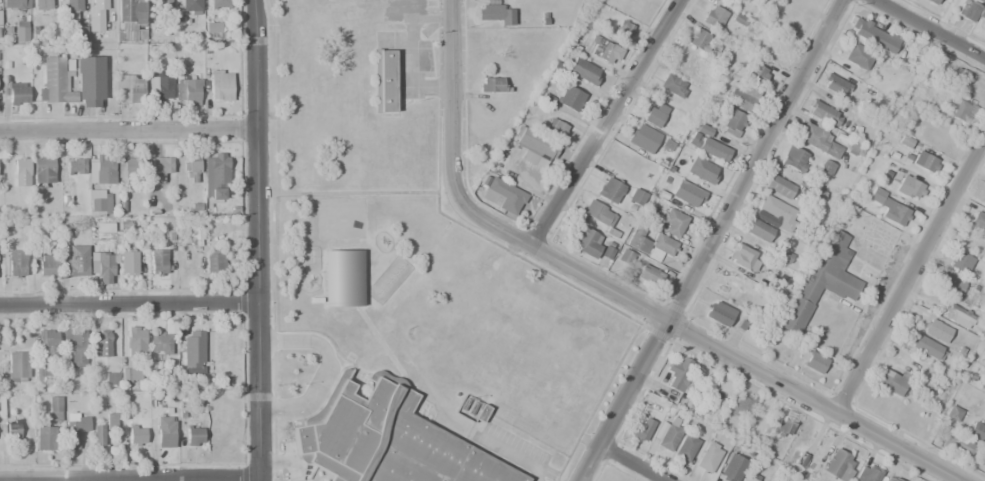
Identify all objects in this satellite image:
building: (979, 0)
building: (931, 2)
building: (42, 4)
building: (163, 4)
building: (220, 4)
building: (16, 5)
building: (190, 7)
building: (969, 11)
building: (72, 12)
building: (495, 13)
building: (98, 15)
building: (713, 16)
building: (130, 20)
building: (0, 23)
building: (213, 27)
building: (983, 28)
building: (624, 29)
building: (20, 31)
road: (930, 31)
building: (873, 35)
building: (700, 40)
building: (489, 44)
building: (601, 53)
building: (857, 57)
building: (89, 71)
building: (584, 71)
building: (755, 72)
building: (959, 75)
building: (384, 81)
building: (833, 84)
building: (221, 85)
building: (492, 85)
building: (673, 85)
building: (160, 87)
building: (131, 88)
building: (187, 89)
building: (16, 91)
road: (450, 92)
building: (742, 95)
building: (564, 98)
building: (961, 110)
building: (822, 112)
building: (655, 114)
building: (731, 122)
road: (605, 124)
building: (555, 129)
road: (128, 130)
building: (812, 136)
building: (643, 138)
building: (706, 142)
building: (534, 146)
building: (794, 158)
building: (924, 162)
building: (129, 165)
building: (76, 166)
building: (191, 166)
building: (104, 167)
building: (161, 168)
building: (702, 170)
building: (43, 171)
building: (22, 172)
building: (215, 176)
building: (779, 186)
building: (909, 188)
building: (611, 190)
road: (357, 192)
building: (814, 193)
building: (687, 194)
building: (502, 195)
building: (637, 197)
building: (101, 203)
building: (890, 207)
building: (215, 208)
building: (599, 213)
building: (775, 213)
building: (978, 222)
building: (672, 223)
building: (759, 230)
building: (196, 233)
road: (709, 239)
road: (258, 240)
building: (588, 241)
building: (649, 242)
building: (969, 242)
building: (744, 258)
building: (215, 261)
building: (75, 262)
building: (158, 262)
building: (960, 262)
building: (16, 263)
building: (128, 263)
building: (48, 265)
building: (105, 265)
building: (649, 275)
building: (342, 278)
road: (911, 278)
building: (820, 281)
building: (952, 283)
road: (129, 303)
building: (718, 313)
building: (958, 316)
building: (936, 330)
building: (47, 337)
building: (135, 342)
building: (102, 343)
building: (160, 343)
road: (704, 343)
building: (76, 348)
building: (193, 349)
building: (927, 350)
building: (816, 362)
building: (18, 366)
building: (42, 369)
building: (678, 373)
building: (131, 375)
building: (111, 379)
building: (892, 381)
building: (983, 387)
building: (741, 406)
building: (54, 408)
building: (953, 414)
building: (759, 419)
building: (784, 424)
building: (102, 427)
building: (13, 428)
building: (75, 428)
building: (165, 428)
building: (640, 430)
building: (977, 432)
building: (670, 434)
building: (136, 435)
building: (194, 435)
building: (45, 438)
building: (386, 438)
building: (957, 446)
building: (685, 447)
building: (708, 456)
road: (630, 464)
building: (838, 465)
building: (732, 468)
building: (867, 473)
road: (128, 476)
road: (184, 478)
building: (890, 478)
building: (747, 479)
road: (17, 480)

